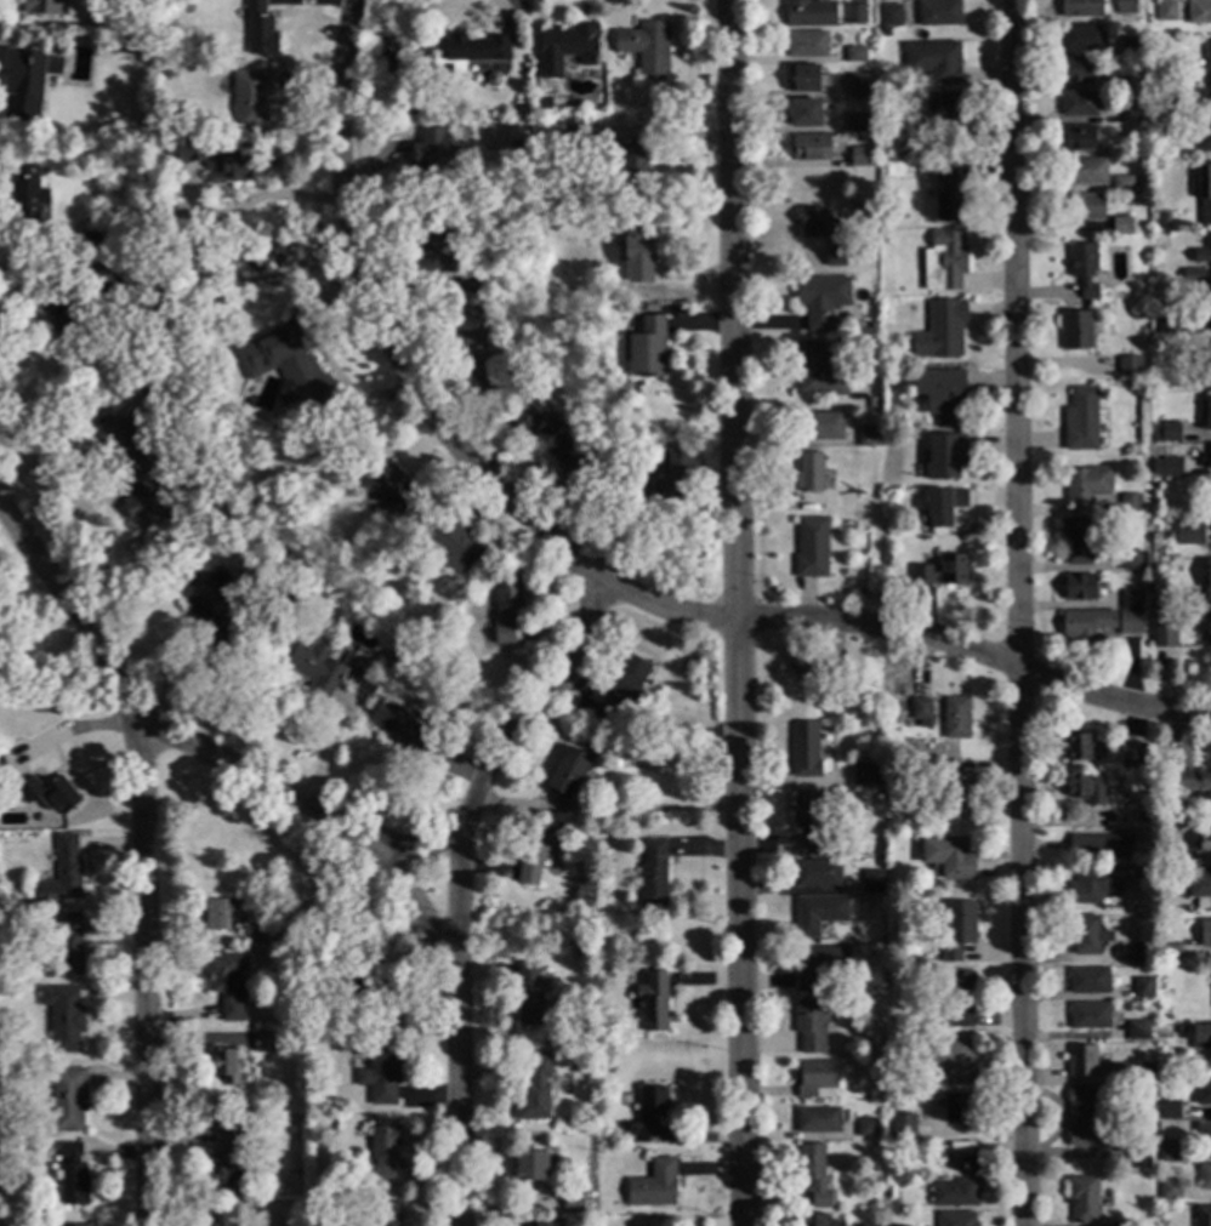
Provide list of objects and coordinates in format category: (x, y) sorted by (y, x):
building: (1125, 7)
building: (42, 8)
building: (1080, 8)
building: (1166, 11)
building: (1199, 12)
building: (939, 13)
building: (809, 15)
building: (855, 15)
building: (889, 17)
building: (260, 30)
building: (883, 34)
building: (1082, 39)
building: (570, 44)
building: (133, 45)
building: (807, 45)
building: (646, 47)
building: (1130, 47)
building: (465, 53)
building: (855, 56)
building: (1207, 56)
building: (934, 62)
building: (1075, 72)
building: (493, 80)
building: (808, 80)
building: (1184, 81)
building: (27, 82)
building: (1116, 84)
building: (858, 86)
building: (251, 98)
building: (1078, 104)
building: (937, 107)
building: (522, 110)
building: (1133, 113)
building: (805, 114)
building: (1205, 122)
building: (857, 124)
building: (169, 125)
building: (1078, 139)
building: (590, 142)
building: (893, 144)
building: (541, 147)
building: (811, 148)
building: (514, 149)
building: (434, 153)
building: (220, 161)
building: (631, 161)
building: (857, 161)
building: (920, 171)
building: (1085, 173)
building: (1121, 184)
building: (1205, 195)
building: (948, 196)
building: (24, 199)
road: (254, 201)
building: (1086, 209)
building: (815, 224)
building: (1121, 226)
building: (92, 239)
building: (430, 245)
building: (638, 252)
building: (1203, 256)
building: (835, 257)
building: (945, 262)
building: (1084, 269)
building: (96, 274)
building: (1194, 276)
building: (473, 283)
road: (29, 287)
building: (1206, 298)
building: (821, 301)
building: (57, 310)
building: (1164, 324)
building: (1076, 331)
building: (940, 332)
building: (473, 342)
building: (648, 348)
building: (1210, 354)
building: (285, 365)
building: (1130, 367)
building: (817, 373)
building: (1201, 382)
building: (498, 383)
building: (154, 393)
road: (419, 394)
building: (942, 397)
building: (1206, 415)
building: (1081, 421)
building: (819, 427)
building: (1169, 434)
building: (868, 437)
building: (551, 443)
building: (944, 457)
building: (1209, 458)
building: (131, 467)
building: (1166, 467)
building: (809, 474)
building: (618, 475)
building: (672, 478)
building: (1087, 485)
building: (381, 486)
building: (1130, 504)
building: (944, 507)
building: (1190, 536)
building: (1078, 543)
building: (453, 544)
building: (812, 549)
building: (1145, 560)
building: (1131, 561)
building: (942, 572)
building: (1209, 583)
building: (1080, 588)
building: (1131, 601)
building: (217, 604)
building: (1156, 605)
building: (506, 609)
road: (739, 612)
road: (1020, 612)
building: (1130, 623)
building: (1086, 625)
building: (1209, 629)
building: (1164, 635)
road: (977, 657)
building: (398, 658)
building: (414, 660)
building: (319, 669)
building: (815, 671)
building: (365, 682)
building: (624, 686)
building: (921, 711)
building: (955, 719)
road: (73, 730)
building: (404, 732)
building: (1076, 748)
building: (805, 751)
building: (1133, 753)
building: (948, 768)
building: (568, 774)
building: (865, 777)
building: (1190, 781)
building: (1086, 789)
building: (49, 796)
building: (959, 796)
building: (1175, 817)
building: (1144, 819)
building: (808, 820)
road: (339, 825)
road: (143, 839)
building: (1203, 843)
building: (1102, 848)
road: (421, 853)
building: (535, 853)
building: (949, 859)
building: (62, 874)
building: (817, 876)
building: (653, 877)
road: (460, 880)
building: (871, 883)
building: (1093, 886)
building: (1200, 889)
building: (222, 914)
building: (818, 914)
building: (267, 931)
building: (956, 931)
building: (1205, 935)
building: (1086, 936)
building: (66, 951)
building: (1169, 953)
building: (1141, 958)
building: (819, 966)
building: (1088, 982)
building: (227, 985)
building: (960, 986)
building: (1161, 986)
building: (366, 987)
building: (1143, 988)
building: (2, 992)
building: (528, 997)
building: (653, 1002)
building: (1090, 1017)
building: (63, 1019)
building: (314, 1019)
building: (956, 1019)
building: (811, 1027)
building: (1178, 1030)
building: (1137, 1032)
building: (1201, 1040)
building: (263, 1043)
building: (951, 1061)
building: (1081, 1062)
building: (223, 1064)
building: (379, 1071)
building: (1165, 1072)
building: (1125, 1076)
building: (817, 1080)
building: (534, 1093)
building: (1204, 1094)
building: (68, 1100)
building: (959, 1110)
building: (1169, 1111)
building: (646, 1113)
building: (1086, 1119)
building: (818, 1122)
building: (866, 1128)
building: (903, 1131)
building: (1204, 1136)
building: (2, 1146)
building: (944, 1151)
building: (1170, 1153)
building: (382, 1156)
building: (1138, 1157)
building: (962, 1158)
building: (228, 1159)
building: (530, 1167)
building: (814, 1176)
building: (73, 1177)
building: (1204, 1177)
building: (925, 1181)
building: (654, 1186)
building: (1169, 1191)
building: (955, 1194)
building: (1082, 1201)
building: (573, 1204)
building: (224, 1214)
building: (387, 1214)
building: (1203, 1216)
building: (813, 1220)
building: (956, 1220)
building: (78, 1225)
building: (535, 1225)
building: (872, 1225)
building: (1120, 1225)

